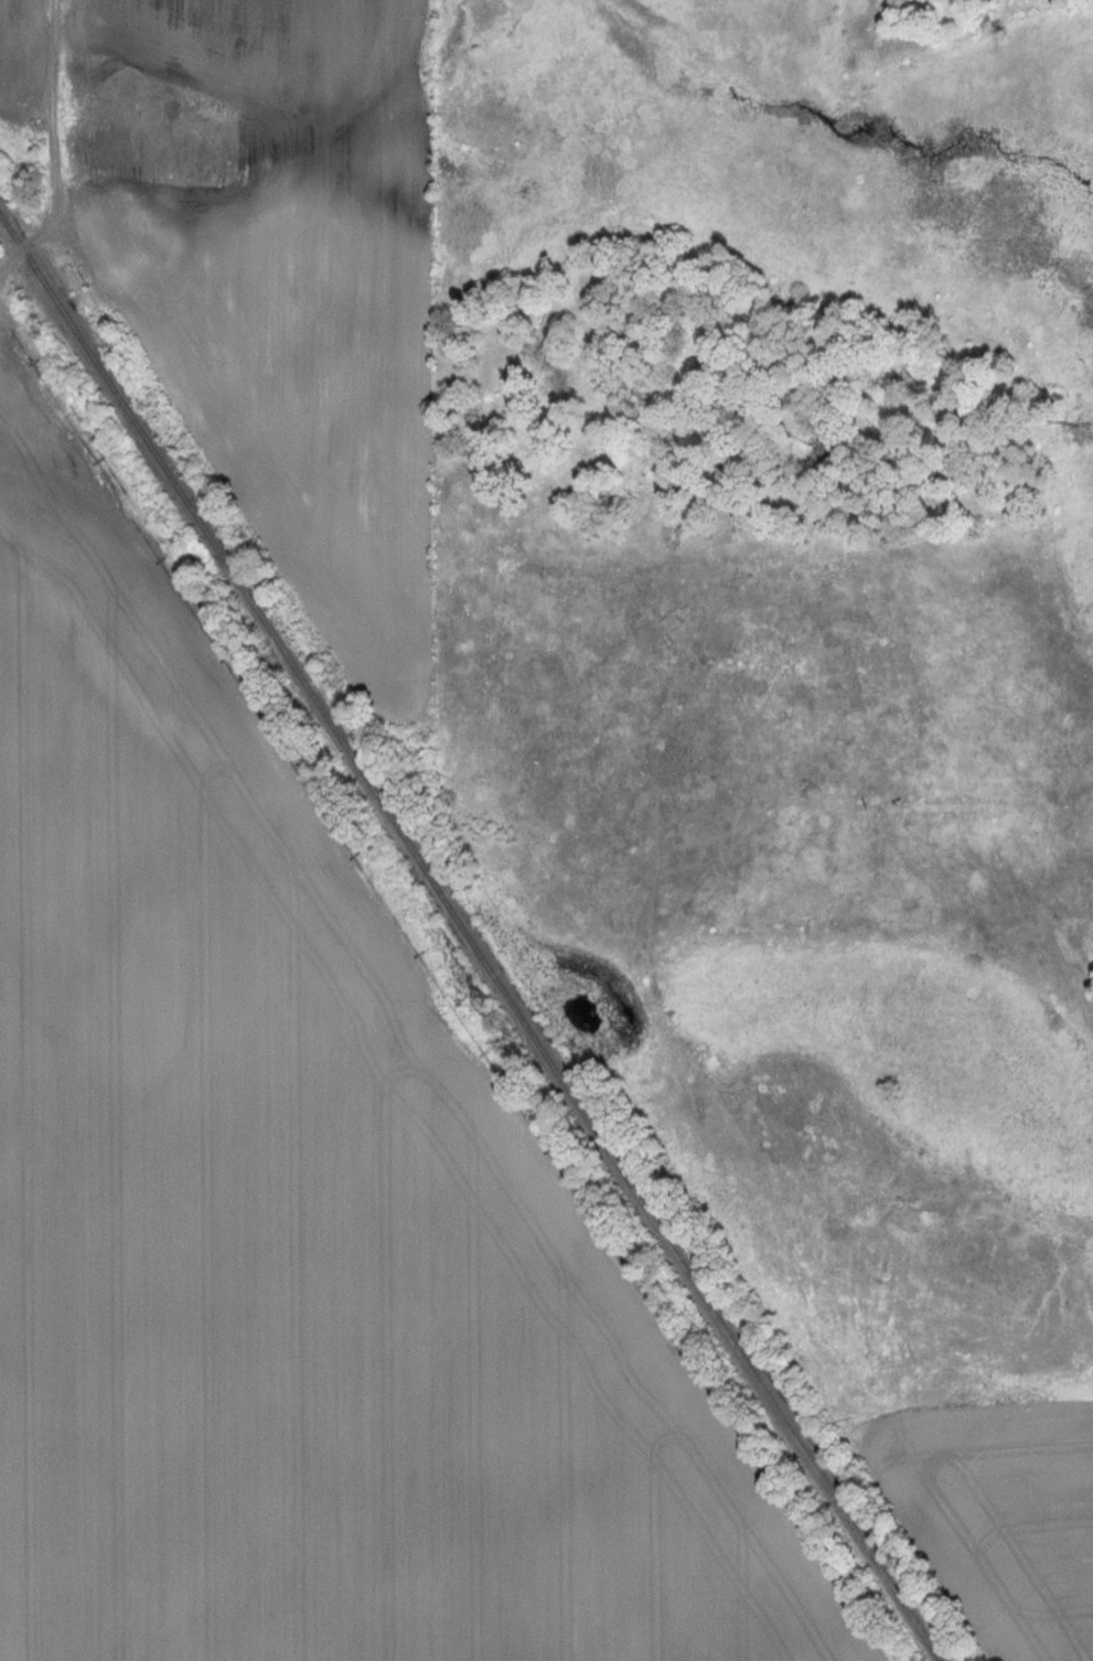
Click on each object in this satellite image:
railway: (465, 936)

